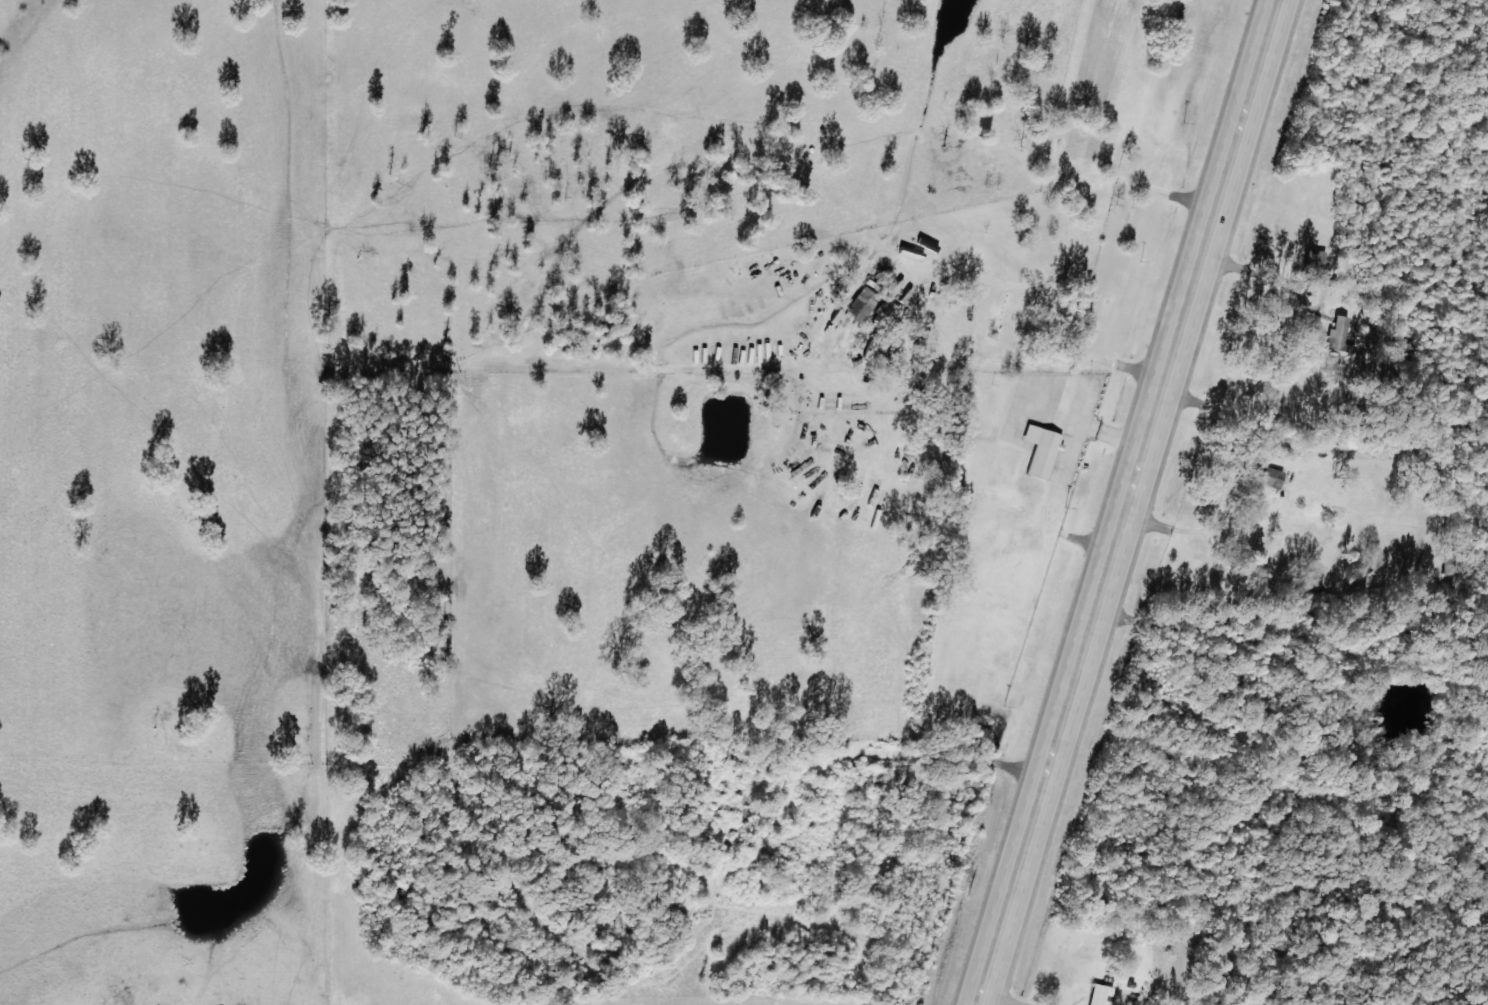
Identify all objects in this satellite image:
building: (1310, 259)
building: (855, 305)
building: (881, 311)
building: (1334, 342)
building: (831, 367)
building: (1039, 453)
building: (1266, 477)
road: (1127, 502)
building: (1097, 994)

